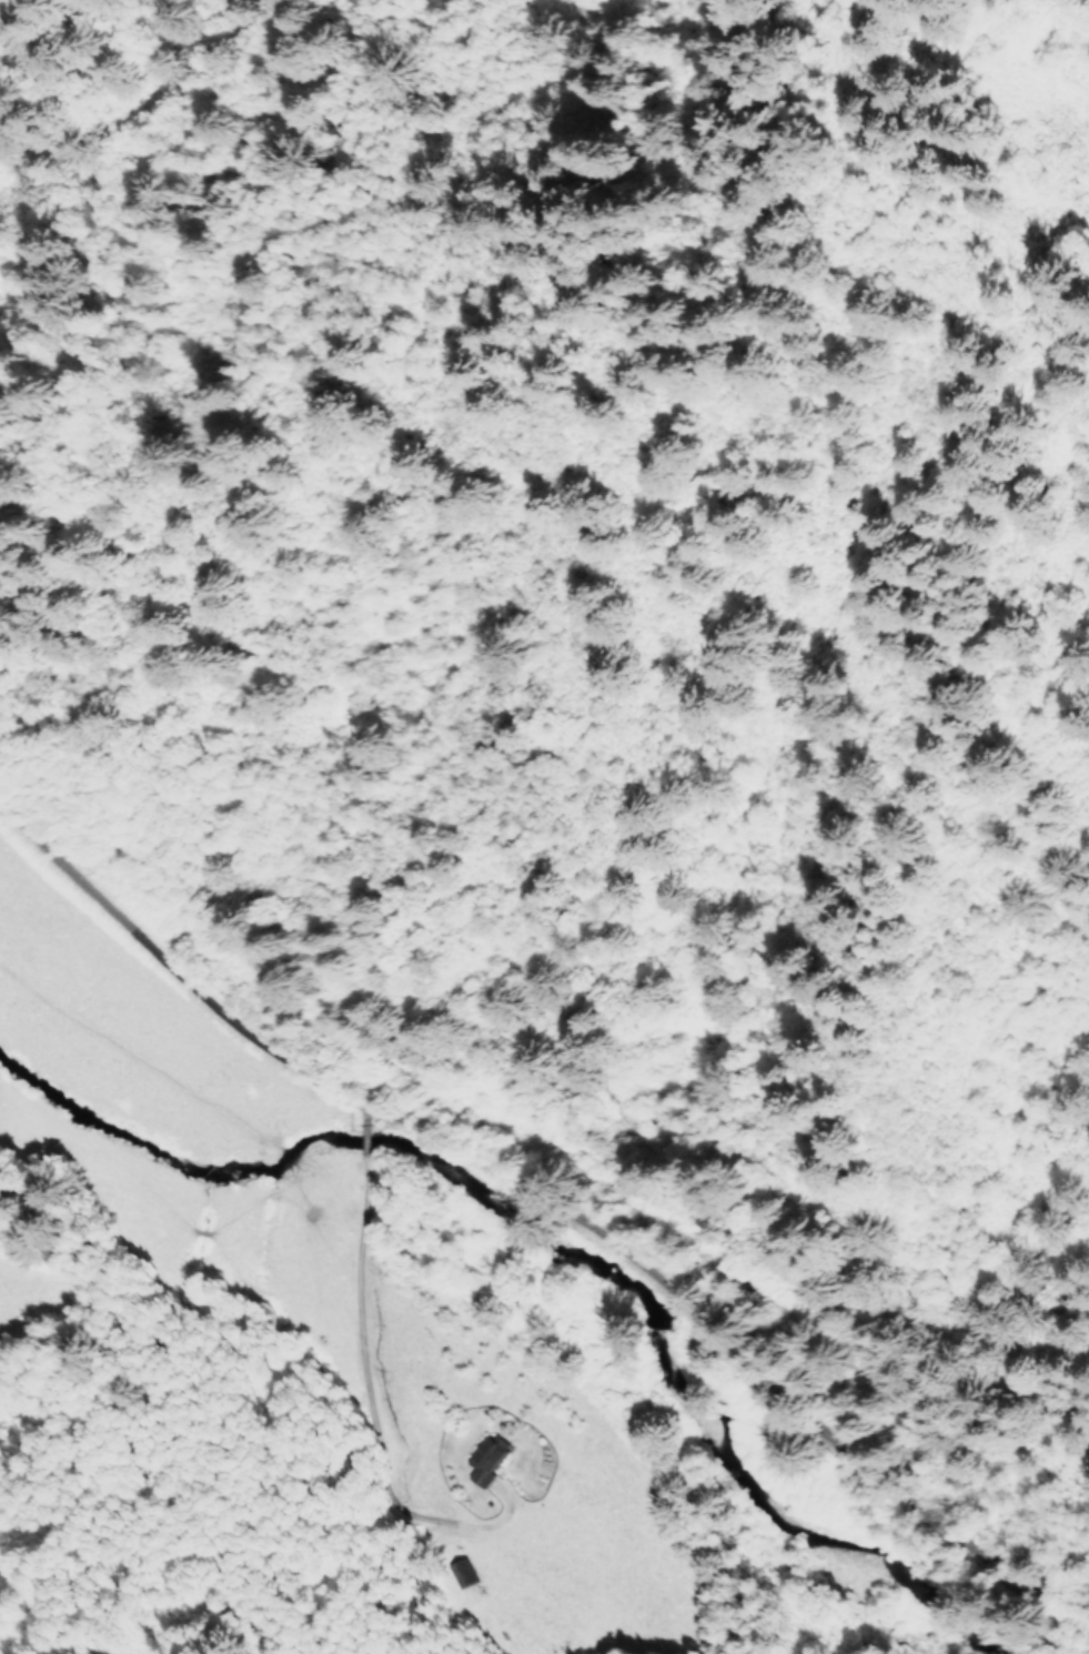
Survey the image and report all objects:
road: (552, 1197)
building: (485, 1455)
building: (462, 1571)

